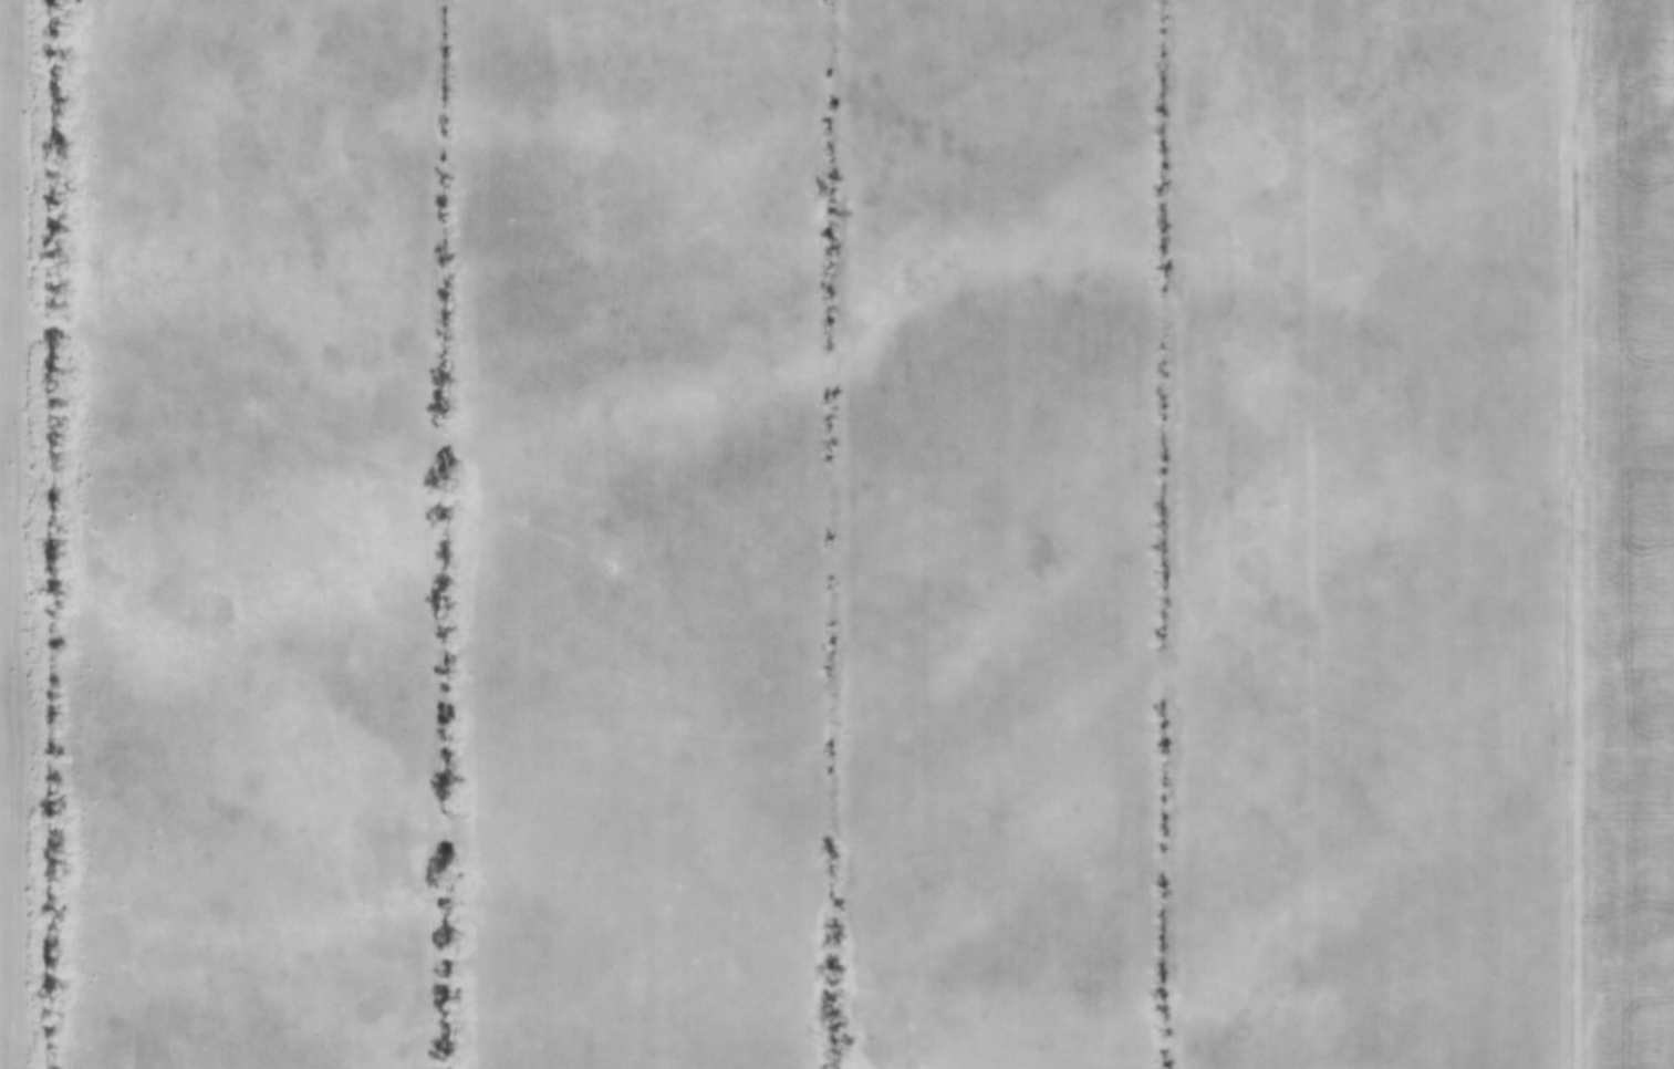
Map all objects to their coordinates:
road: (1556, 533)

